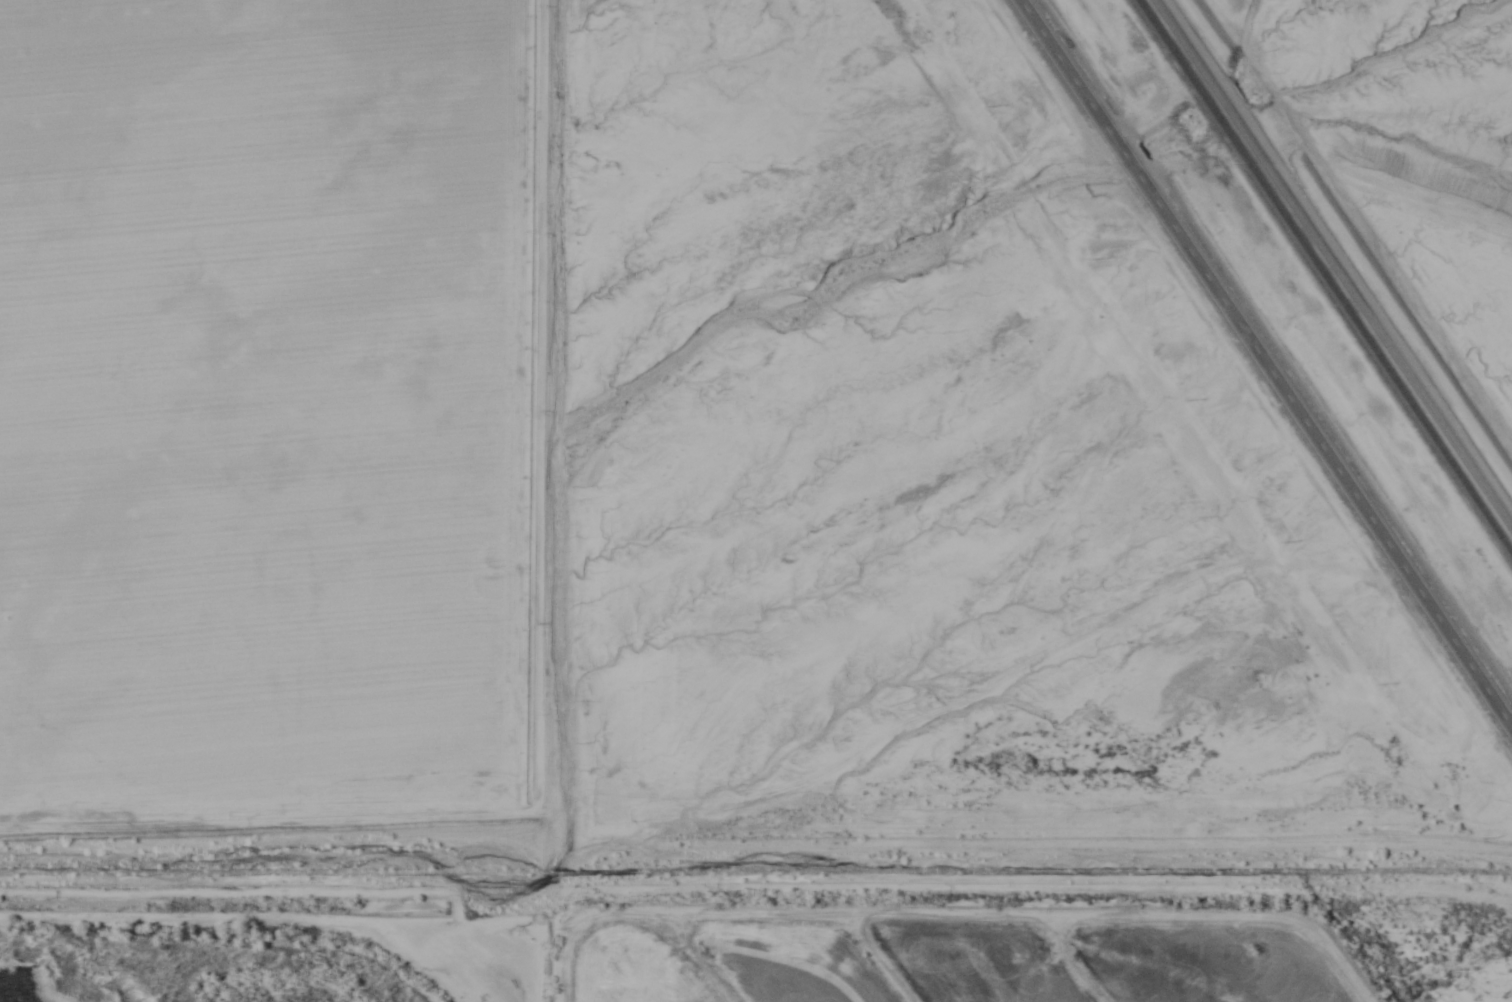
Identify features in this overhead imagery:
railway: (1336, 259)
railway: (1326, 274)
road: (1267, 361)

